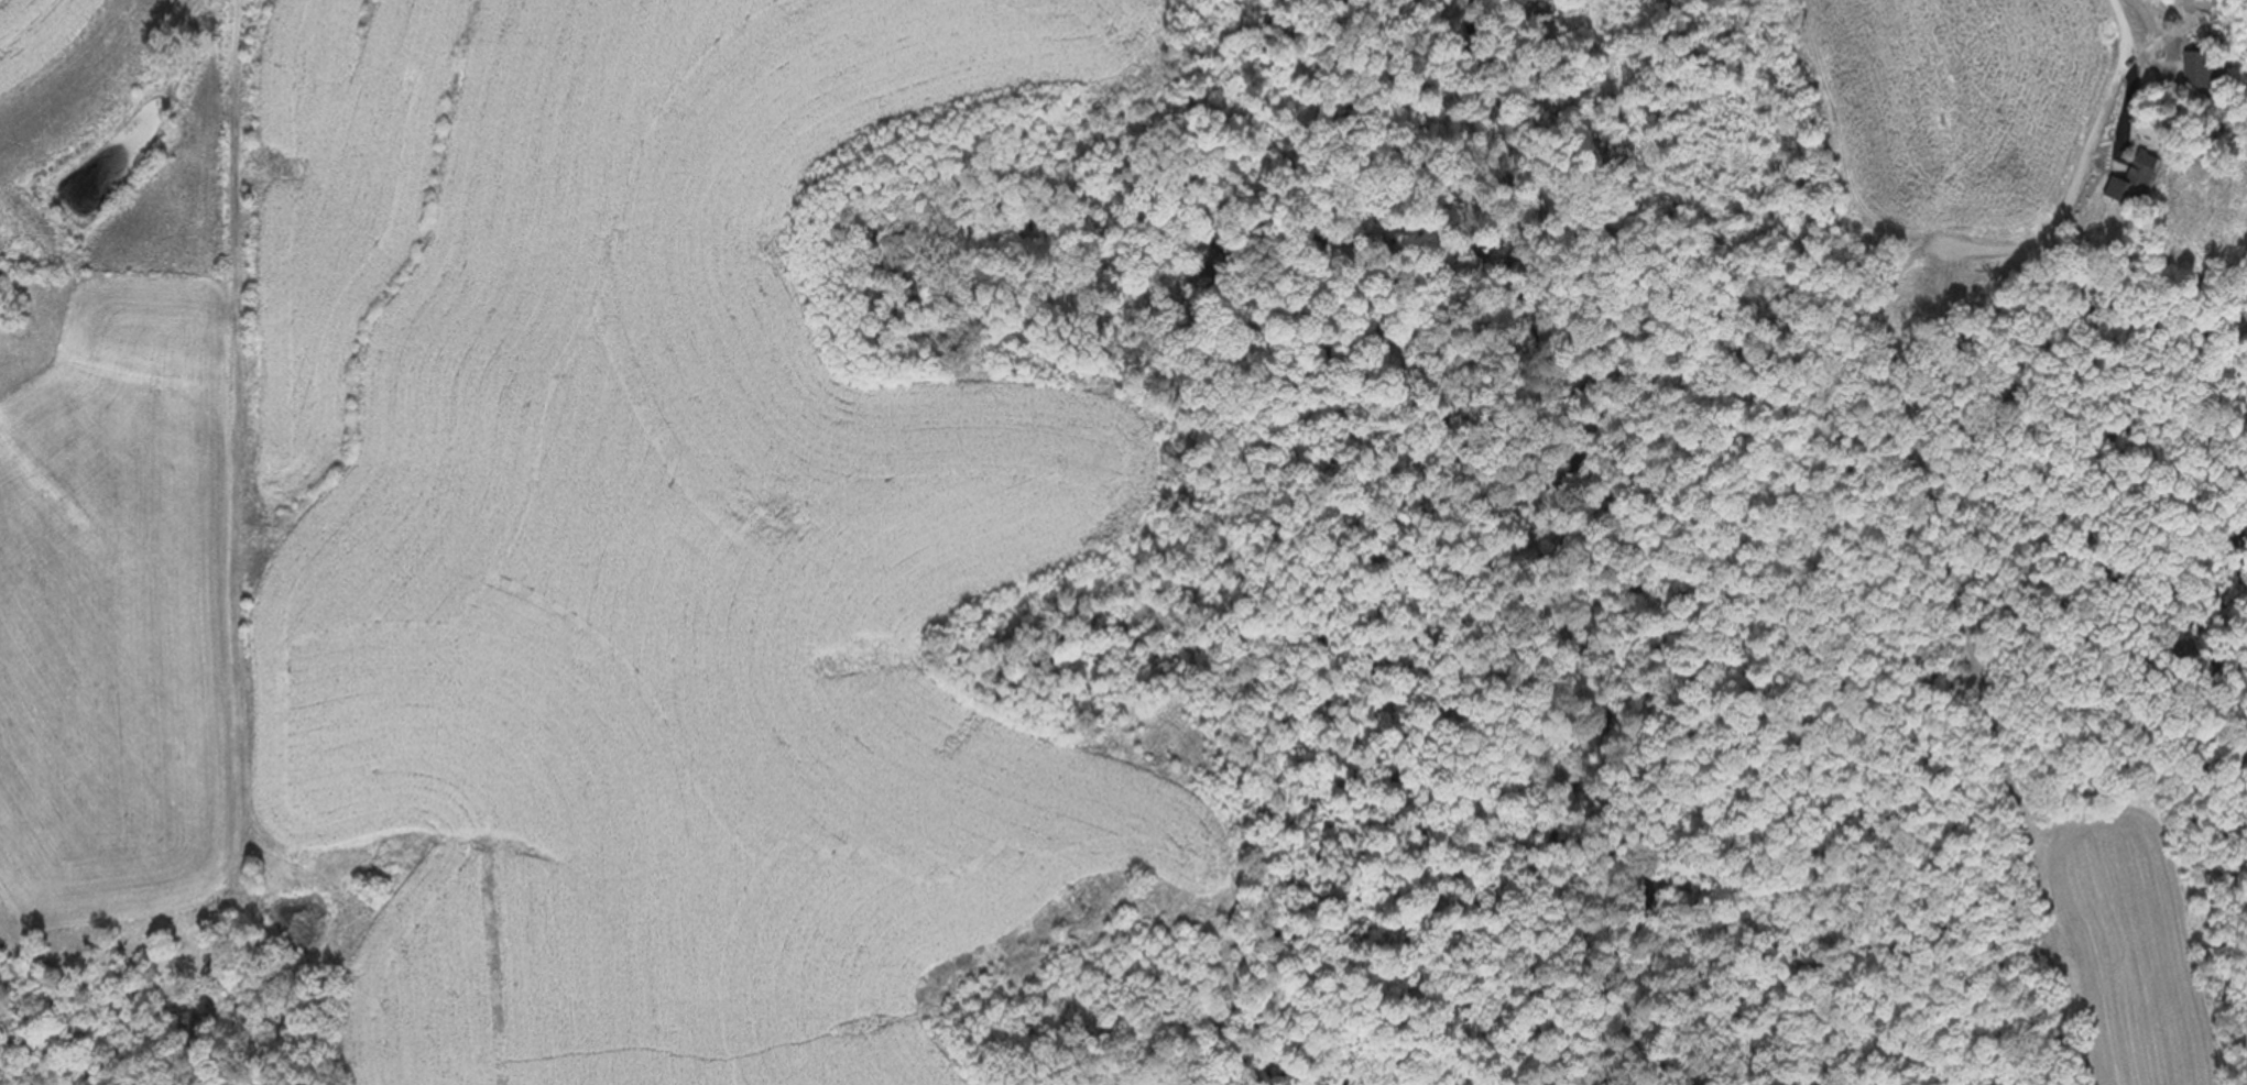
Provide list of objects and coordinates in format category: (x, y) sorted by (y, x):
building: (2194, 73)
road: (2083, 172)
building: (2129, 177)

